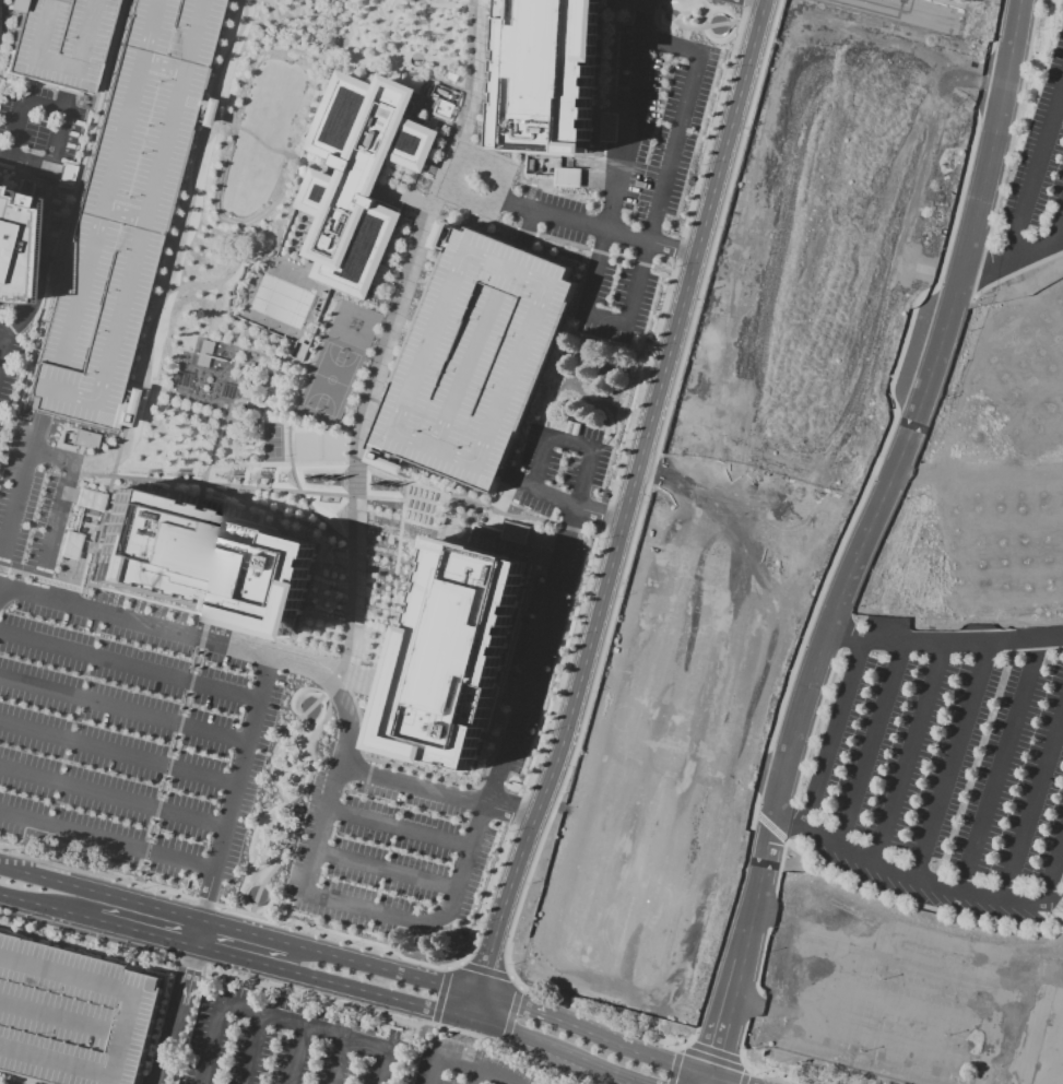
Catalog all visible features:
building: (948, 0)
road: (654, 1)
road: (447, 4)
road: (694, 26)
road: (994, 26)
road: (428, 28)
road: (392, 35)
building: (57, 40)
parking lot: (57, 40)
road: (415, 55)
road: (614, 58)
building: (556, 73)
road: (983, 82)
road: (67, 102)
building: (444, 107)
road: (43, 109)
road: (636, 115)
road: (675, 121)
road: (1013, 123)
road: (15, 130)
road: (256, 139)
road: (991, 140)
parking lot: (1040, 154)
road: (24, 161)
road: (49, 164)
building: (366, 170)
road: (1036, 174)
building: (566, 177)
road: (33, 181)
building: (672, 191)
road: (406, 197)
building: (123, 210)
parking garage: (123, 210)
road: (556, 215)
road: (1059, 227)
road: (60, 233)
road: (626, 234)
road: (548, 237)
road: (167, 239)
road: (671, 246)
building: (10, 247)
road: (1011, 258)
road: (240, 260)
road: (977, 269)
parking lot: (34, 271)
road: (1016, 271)
road: (36, 275)
parking lot: (611, 286)
road: (164, 294)
road: (156, 295)
road: (971, 295)
road: (214, 308)
road: (601, 320)
road: (4, 330)
road: (4, 346)
building: (479, 354)
parking garage: (479, 354)
park: (327, 379)
road: (245, 401)
road: (887, 426)
building: (84, 439)
park: (270, 443)
road: (213, 445)
road: (898, 455)
road: (50, 458)
road: (538, 458)
parking lot: (557, 464)
road: (351, 469)
road: (236, 485)
road: (613, 487)
road: (297, 488)
road: (645, 490)
road: (17, 495)
road: (473, 499)
building: (88, 500)
road: (625, 512)
road: (445, 514)
road: (421, 525)
road: (55, 529)
building: (513, 532)
road: (394, 555)
building: (204, 561)
road: (40, 578)
road: (144, 601)
road: (944, 641)
building: (461, 651)
road: (263, 657)
road: (127, 665)
road: (358, 686)
parking lot: (118, 702)
road: (122, 707)
road: (813, 723)
road: (379, 727)
road: (832, 732)
road: (871, 743)
road: (170, 750)
road: (117, 751)
road: (908, 751)
road: (489, 756)
road: (952, 759)
road: (382, 762)
road: (1000, 764)
road: (761, 767)
parking lot: (945, 779)
road: (437, 793)
road: (111, 797)
road: (1032, 802)
road: (755, 811)
road: (788, 818)
road: (770, 827)
road: (399, 828)
road: (106, 840)
parking lot: (387, 848)
road: (766, 855)
road: (779, 865)
road: (1053, 869)
road: (385, 872)
road: (913, 876)
road: (99, 894)
road: (916, 904)
road: (47, 907)
road: (226, 907)
road: (771, 910)
road: (441, 914)
road: (727, 921)
road: (143, 932)
road: (196, 932)
road: (243, 932)
road: (761, 957)
road: (461, 963)
road: (446, 969)
road: (485, 969)
road: (509, 976)
road: (517, 988)
road: (298, 993)
road: (439, 994)
road: (501, 1000)
road: (752, 1003)
road: (421, 1008)
road: (170, 1014)
road: (509, 1015)
road: (63, 1017)
building: (73, 1017)
parking lot: (73, 1017)
road: (593, 1018)
road: (281, 1020)
road: (433, 1022)
road: (129, 1025)
road: (1032, 1035)
road: (742, 1041)
road: (501, 1042)
road: (689, 1042)
parking lot: (283, 1045)
road: (251, 1049)
road: (677, 1049)
road: (713, 1051)
road: (297, 1054)
road: (408, 1054)
road: (739, 1059)
road: (338, 1060)
road: (465, 1065)
parking lot: (466, 1065)
road: (673, 1067)
road: (745, 1071)
road: (475, 1076)
road: (547, 1076)
road: (743, 1077)
road: (771, 1079)

